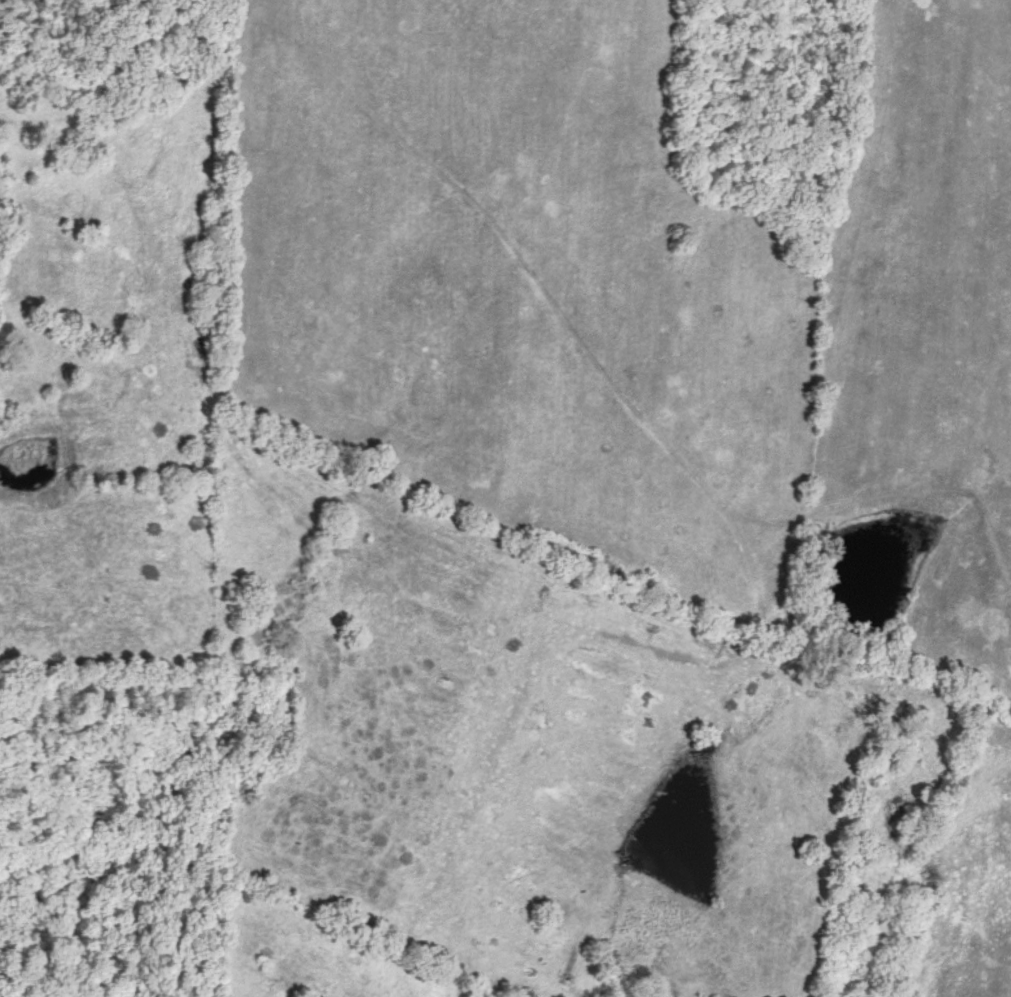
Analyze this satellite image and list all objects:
building: (898, 812)

